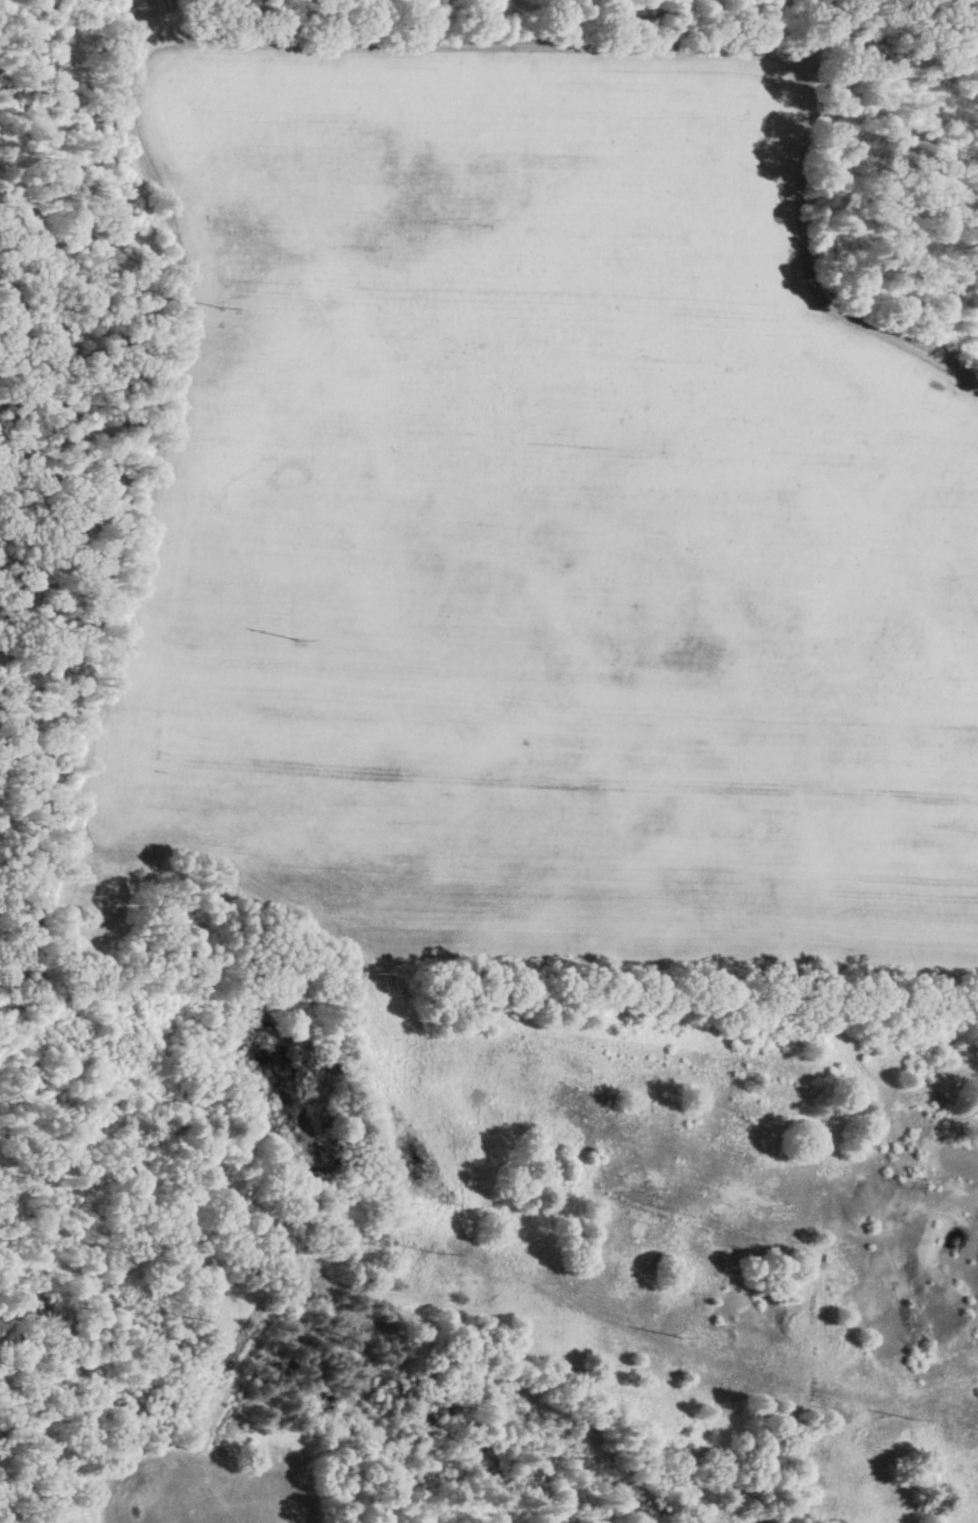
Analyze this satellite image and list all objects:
quarry: (891, 1296)

